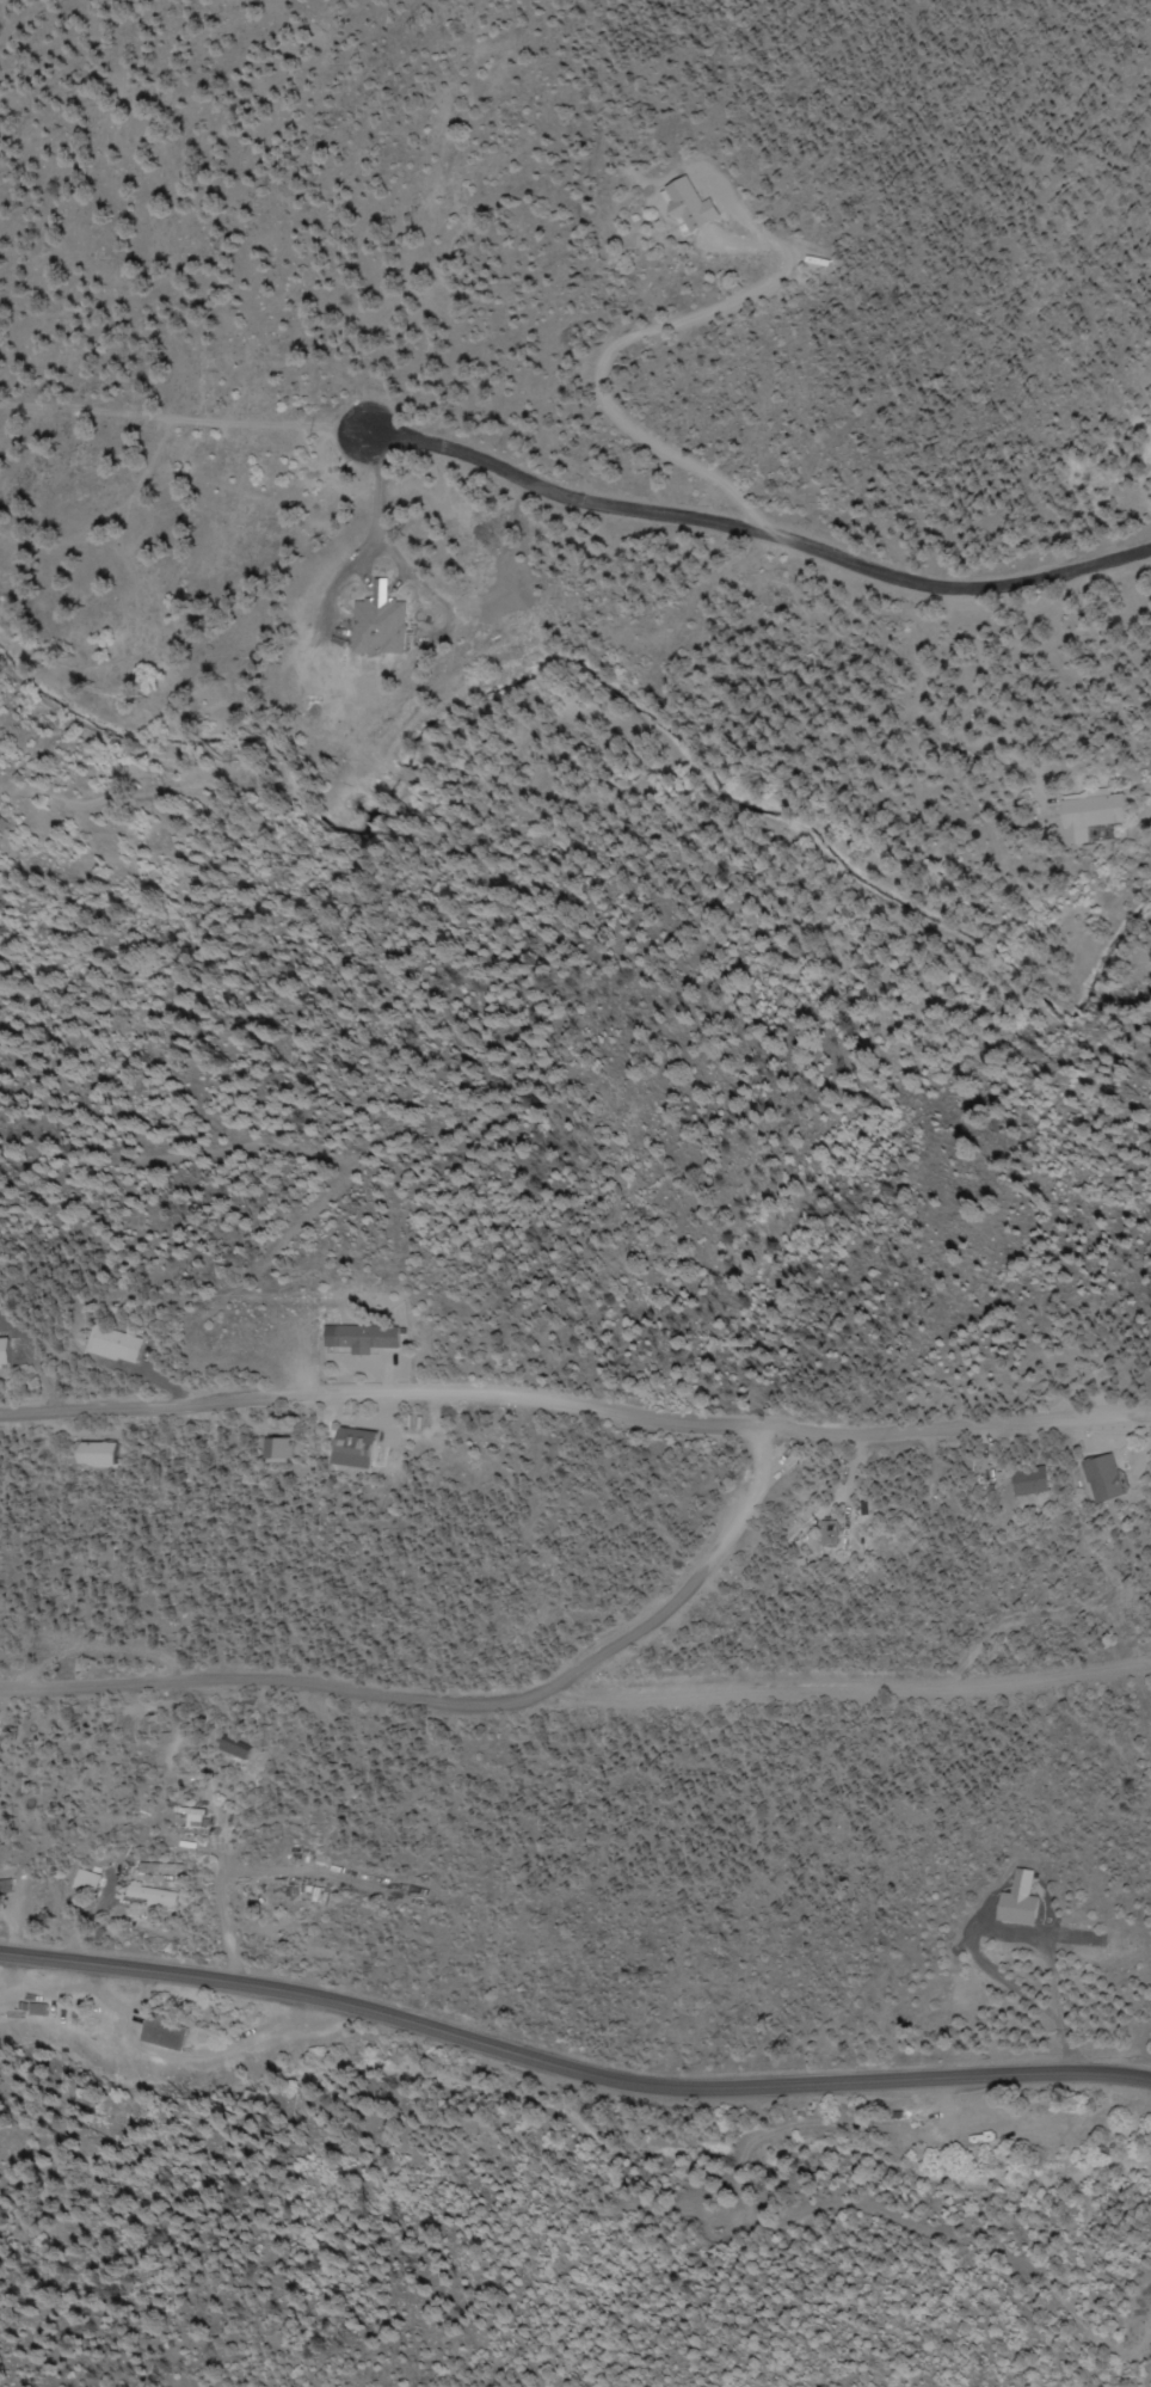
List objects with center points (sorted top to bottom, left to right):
building: (695, 208)
building: (393, 625)
building: (1077, 814)
building: (364, 1337)
building: (118, 1343)
building: (7, 1351)
road: (577, 1434)
building: (361, 1448)
building: (282, 1450)
building: (106, 1453)
building: (1114, 1479)
building: (1036, 1480)
building: (836, 1533)
road: (215, 1601)
road: (439, 1729)
building: (236, 1750)
road: (76, 1779)
building: (88, 1883)
building: (6, 1888)
building: (156, 1897)
building: (1020, 1909)
building: (47, 2009)
building: (109, 2026)
building: (172, 2032)
road: (570, 2072)

